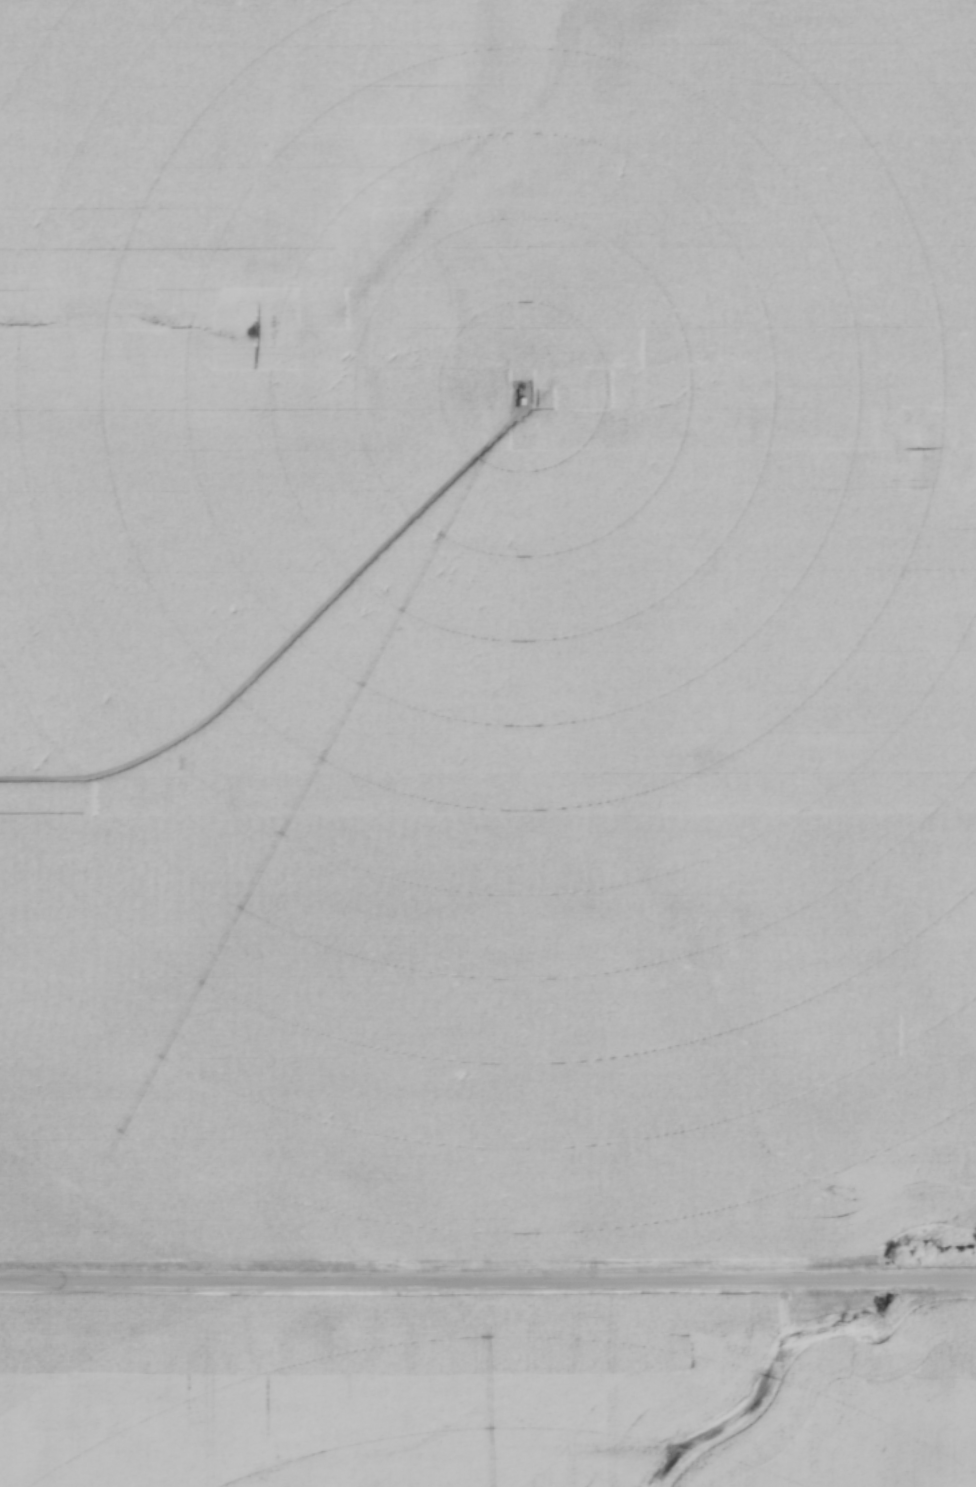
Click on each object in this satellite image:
road: (488, 1284)

